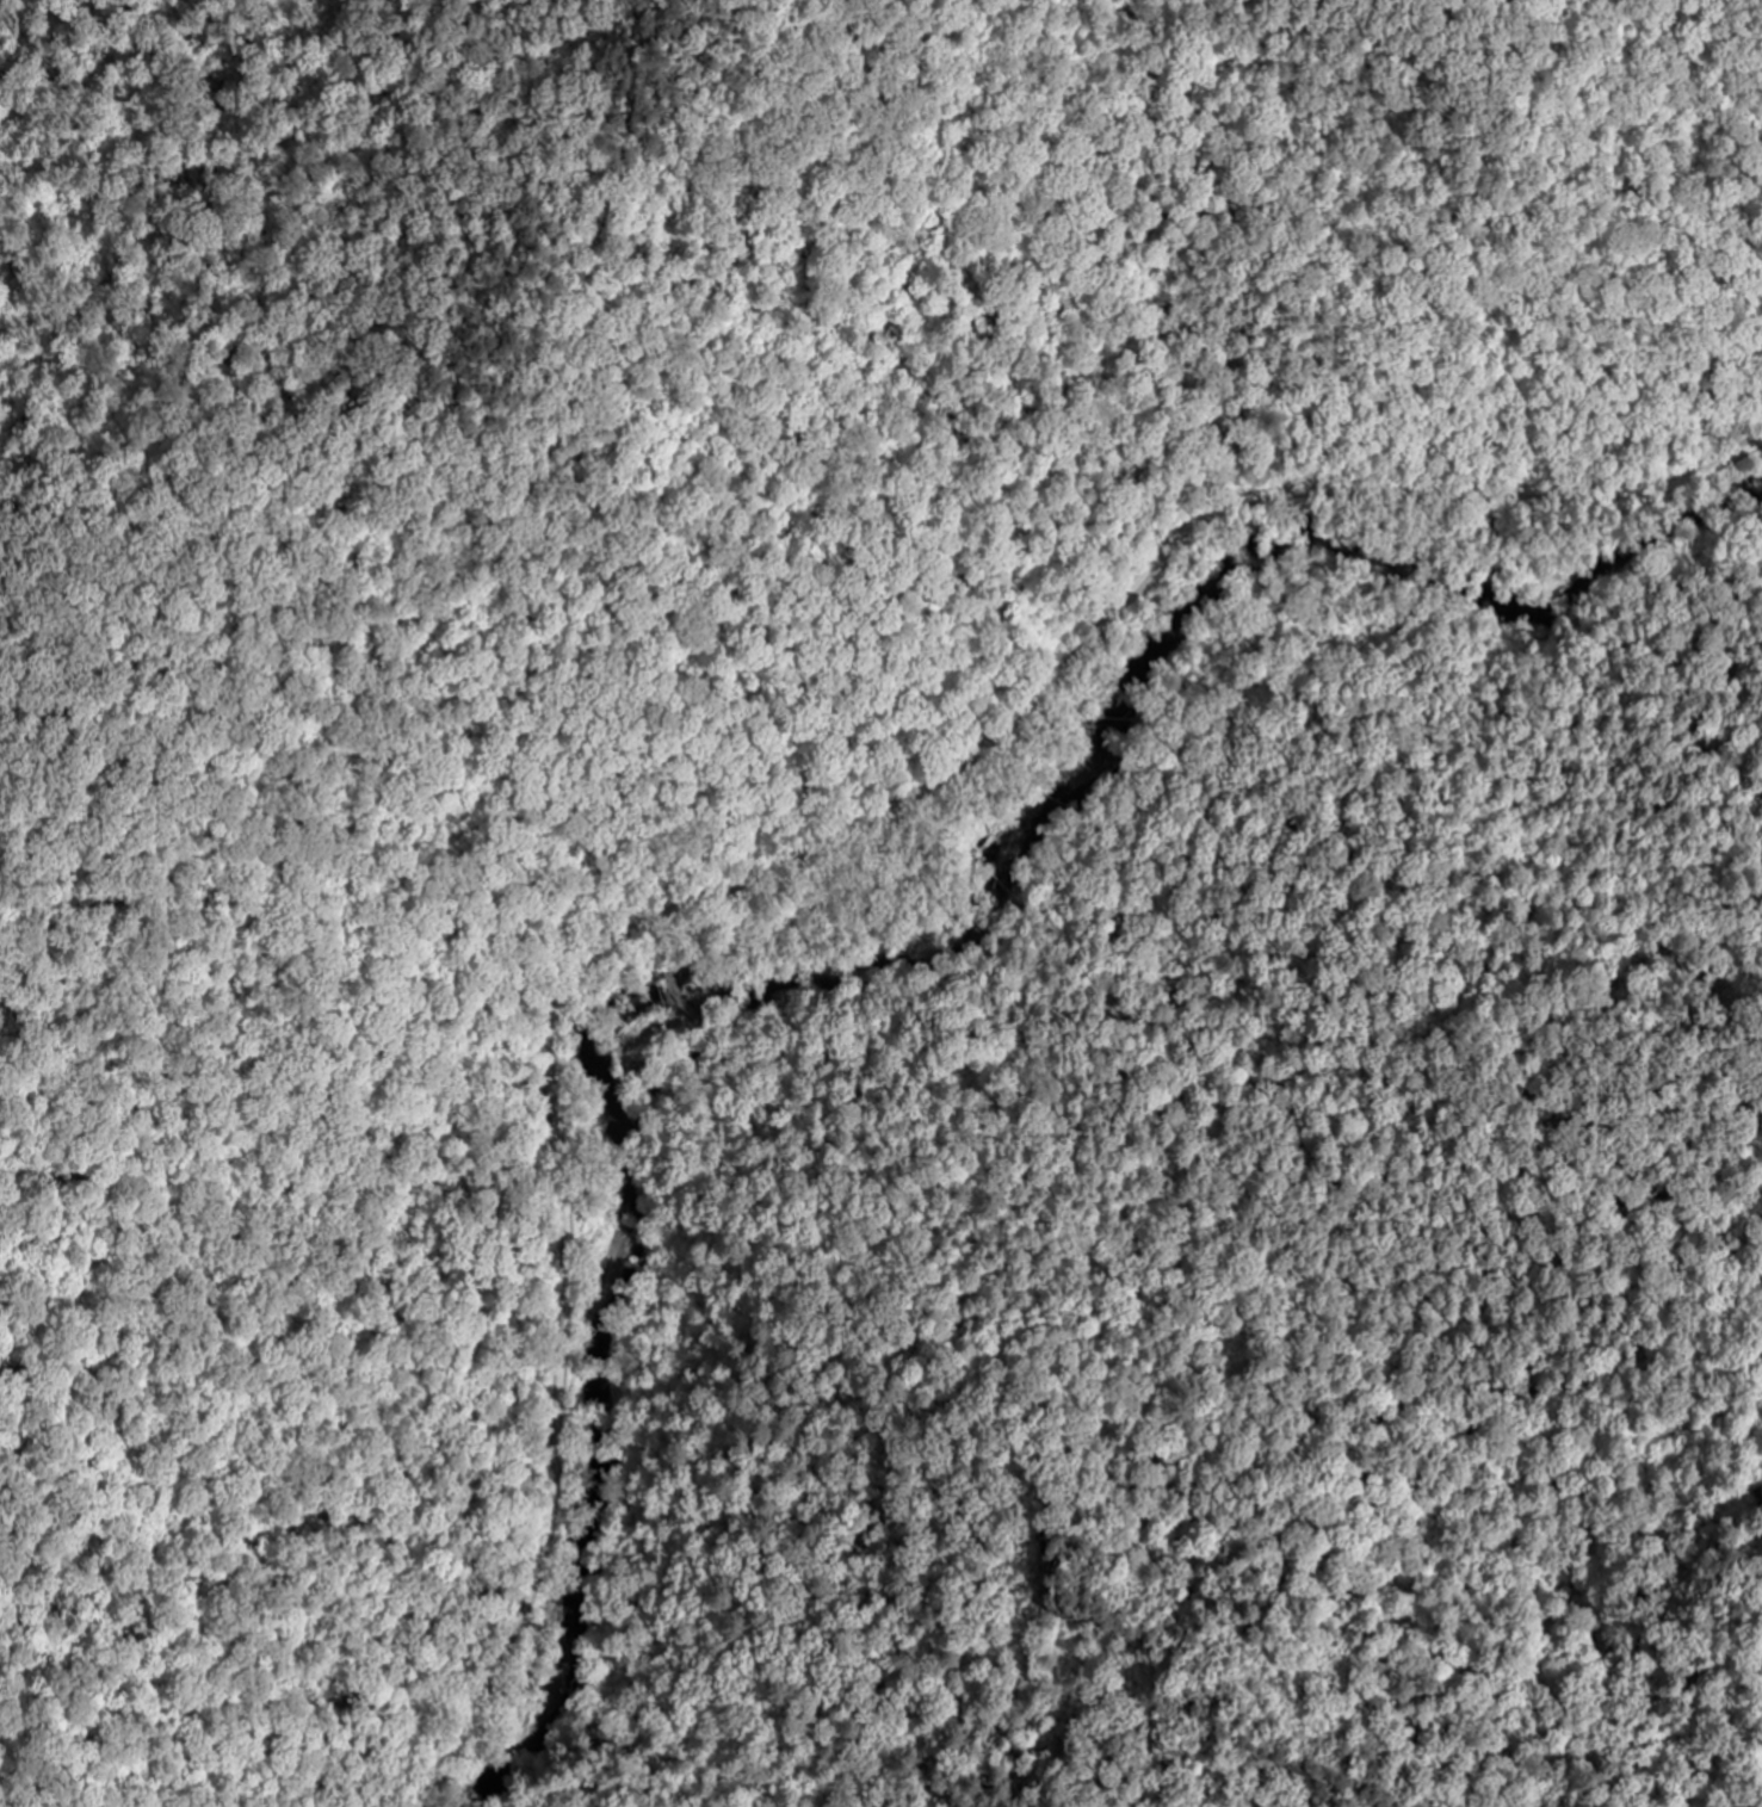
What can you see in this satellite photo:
road: (786, 852)

